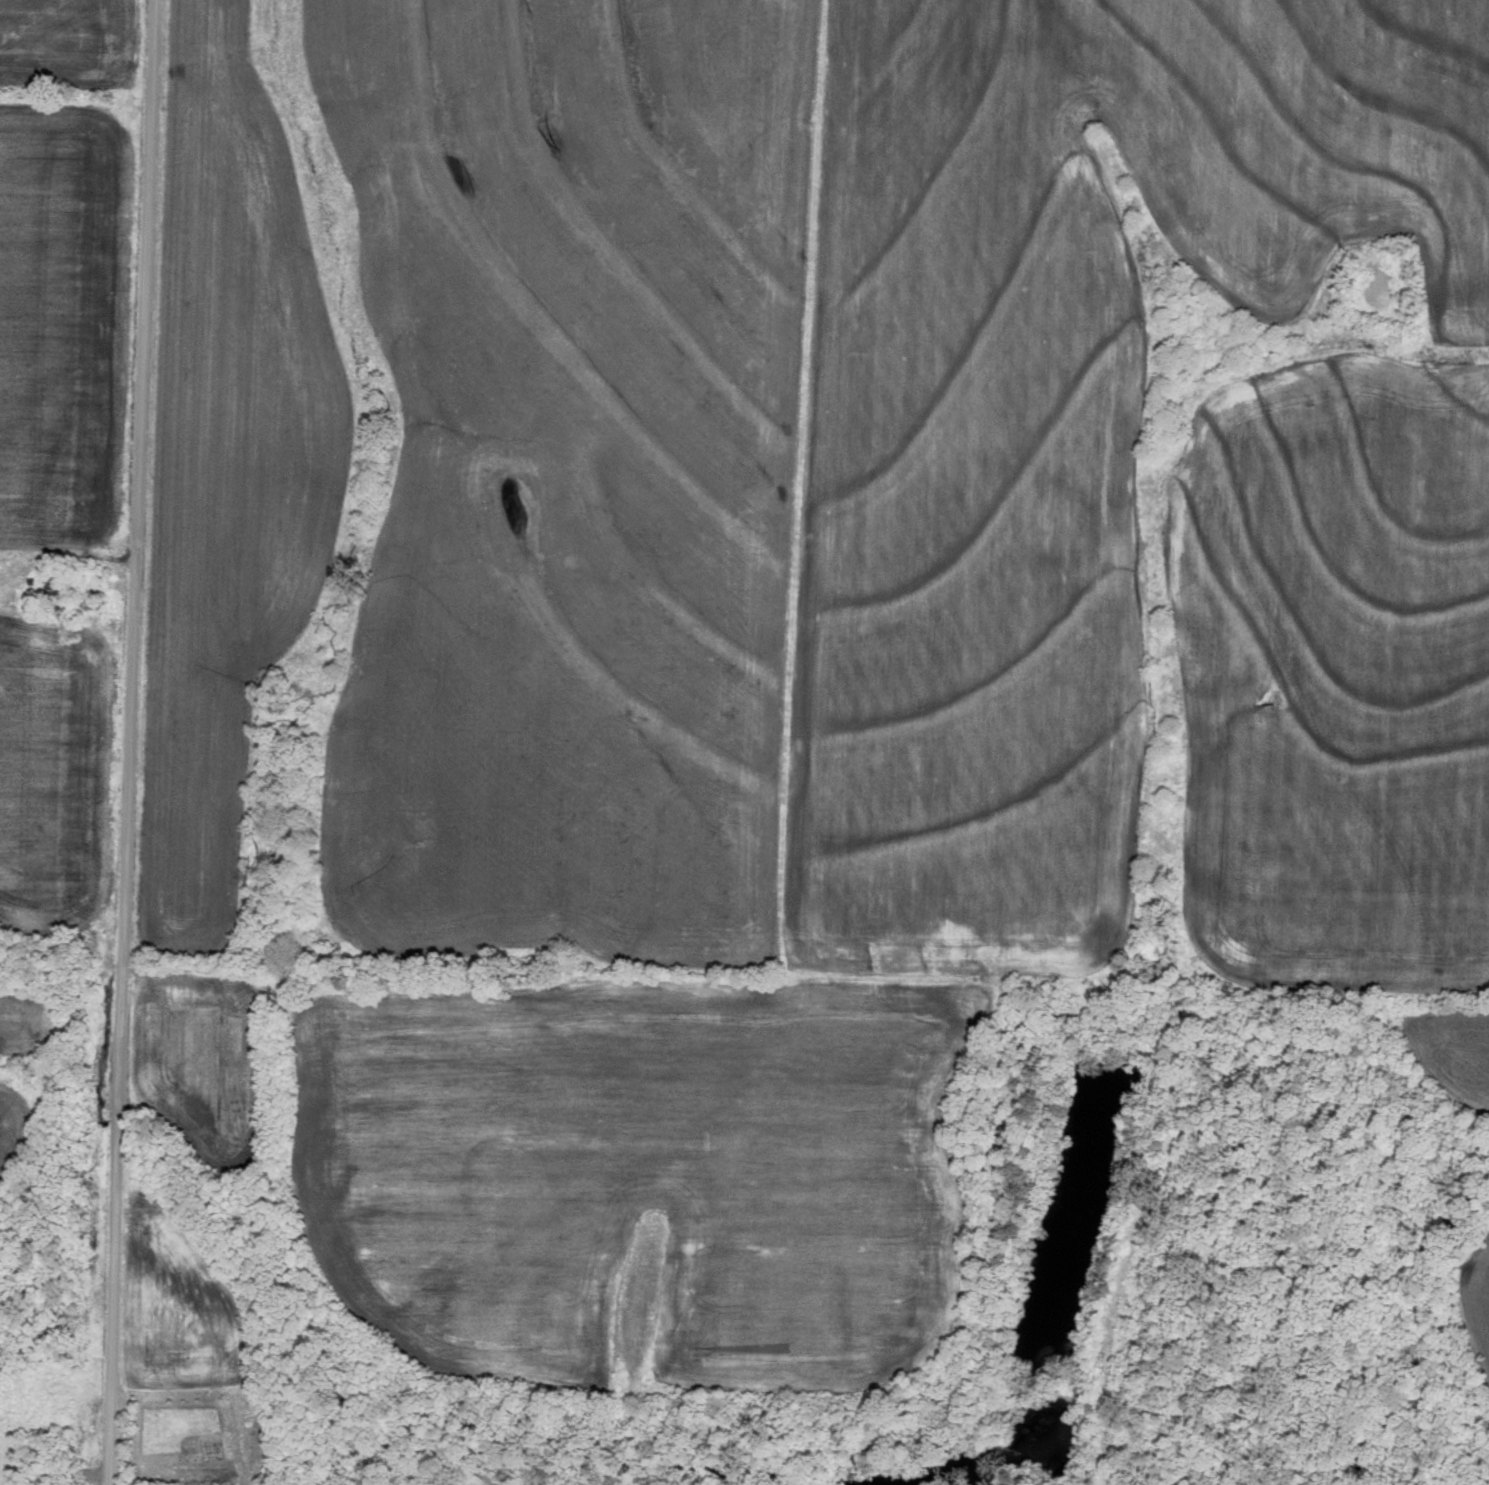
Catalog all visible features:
road: (127, 742)

